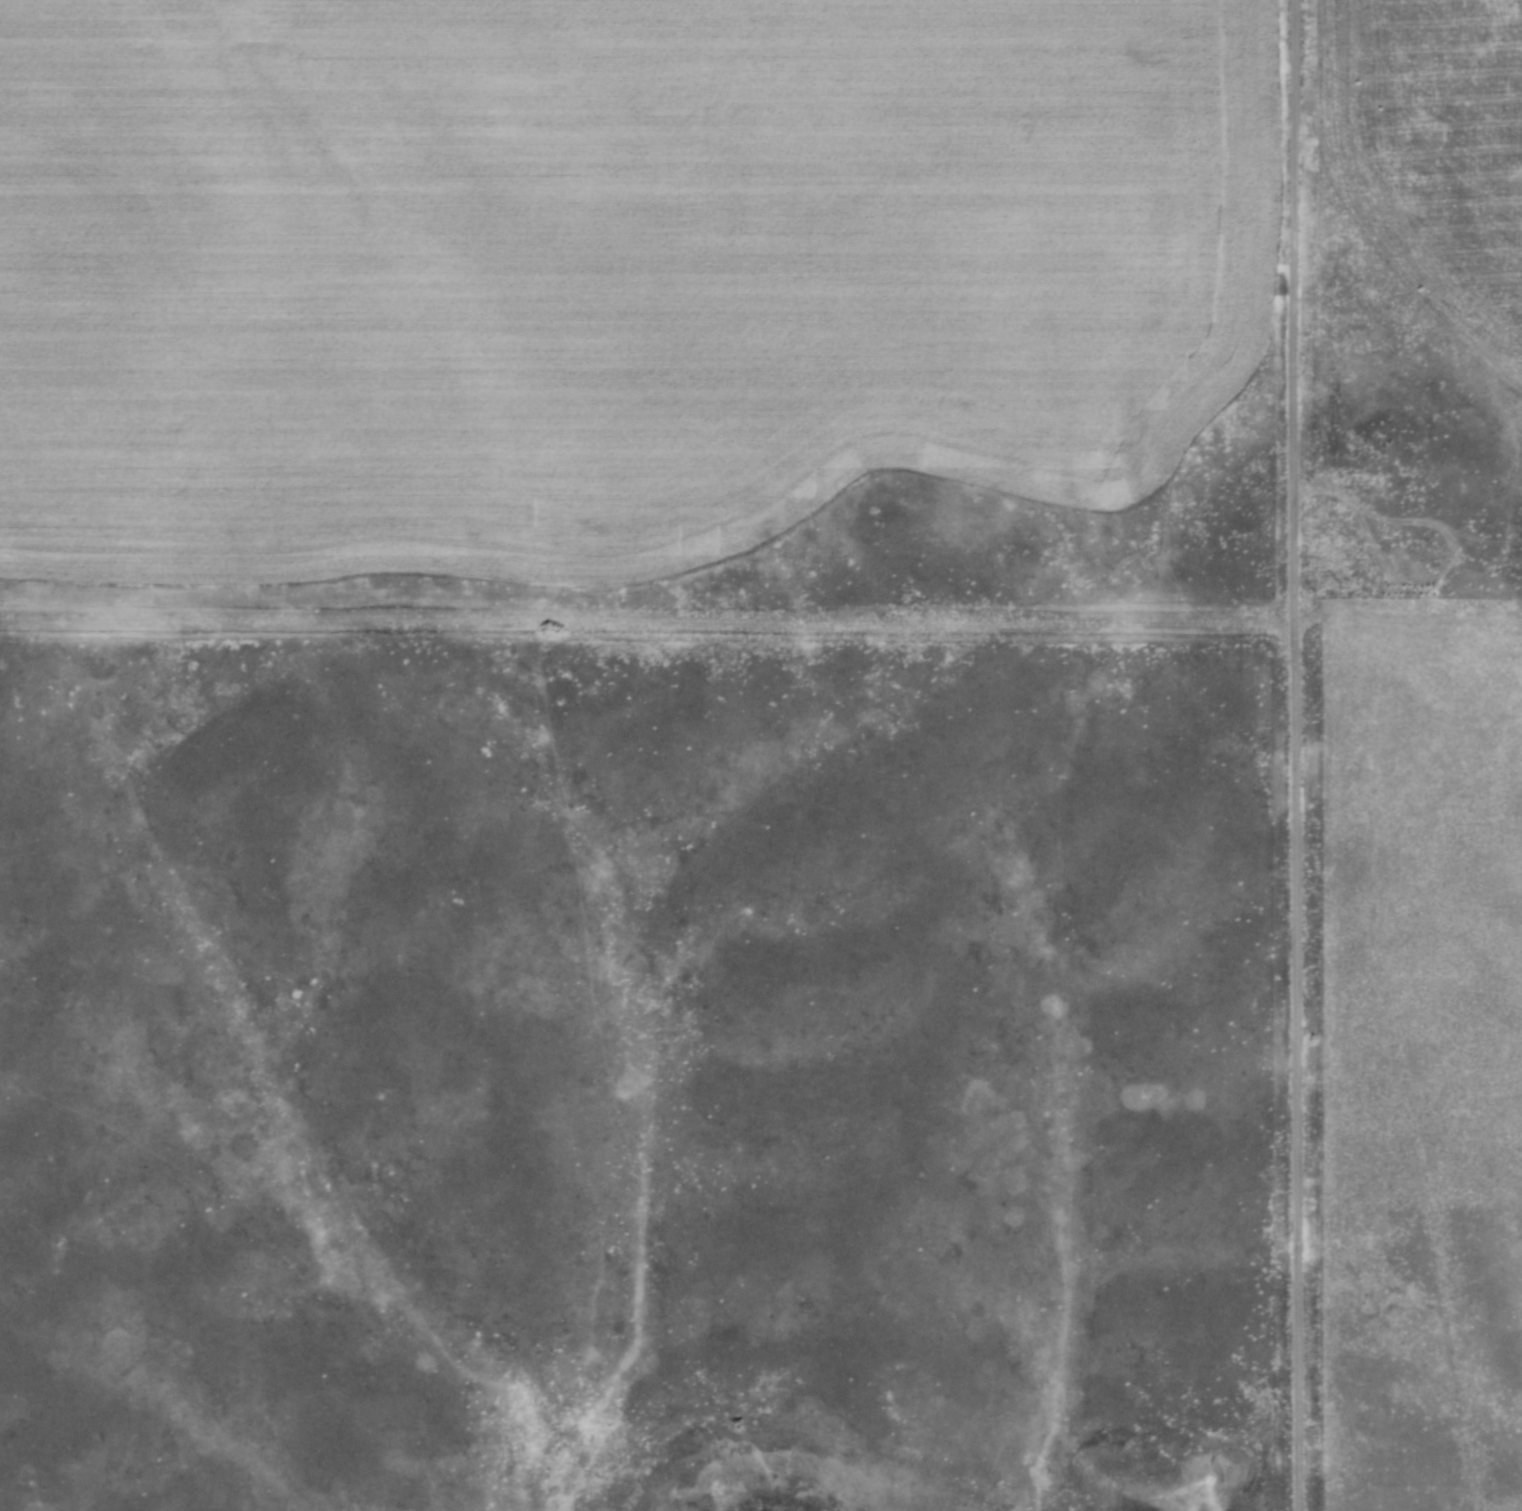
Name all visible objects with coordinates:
road: (1302, 1058)

